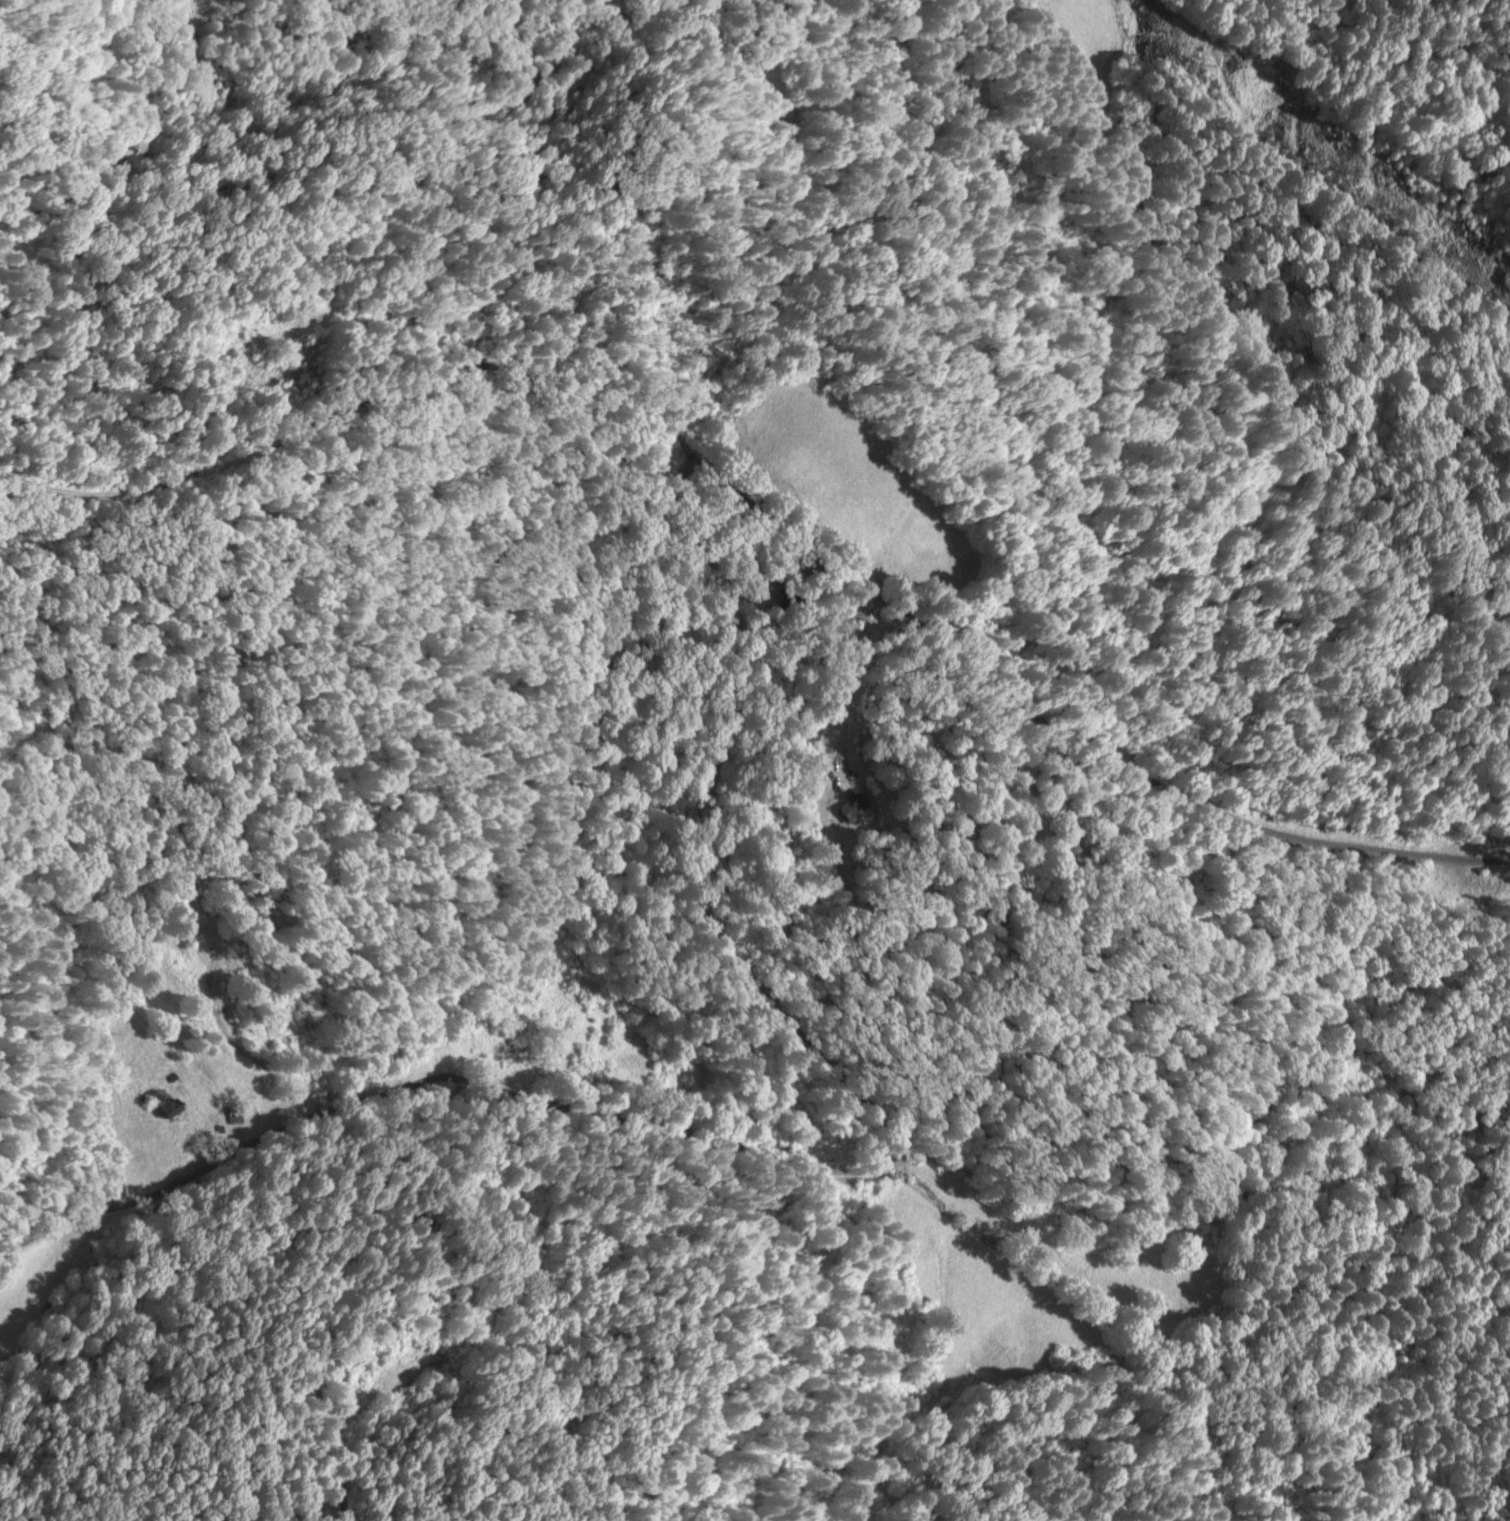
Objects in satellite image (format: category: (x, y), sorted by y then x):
road: (388, 395)
road: (30, 461)
building: (853, 803)
road: (705, 848)
road: (1499, 853)
building: (164, 1101)

